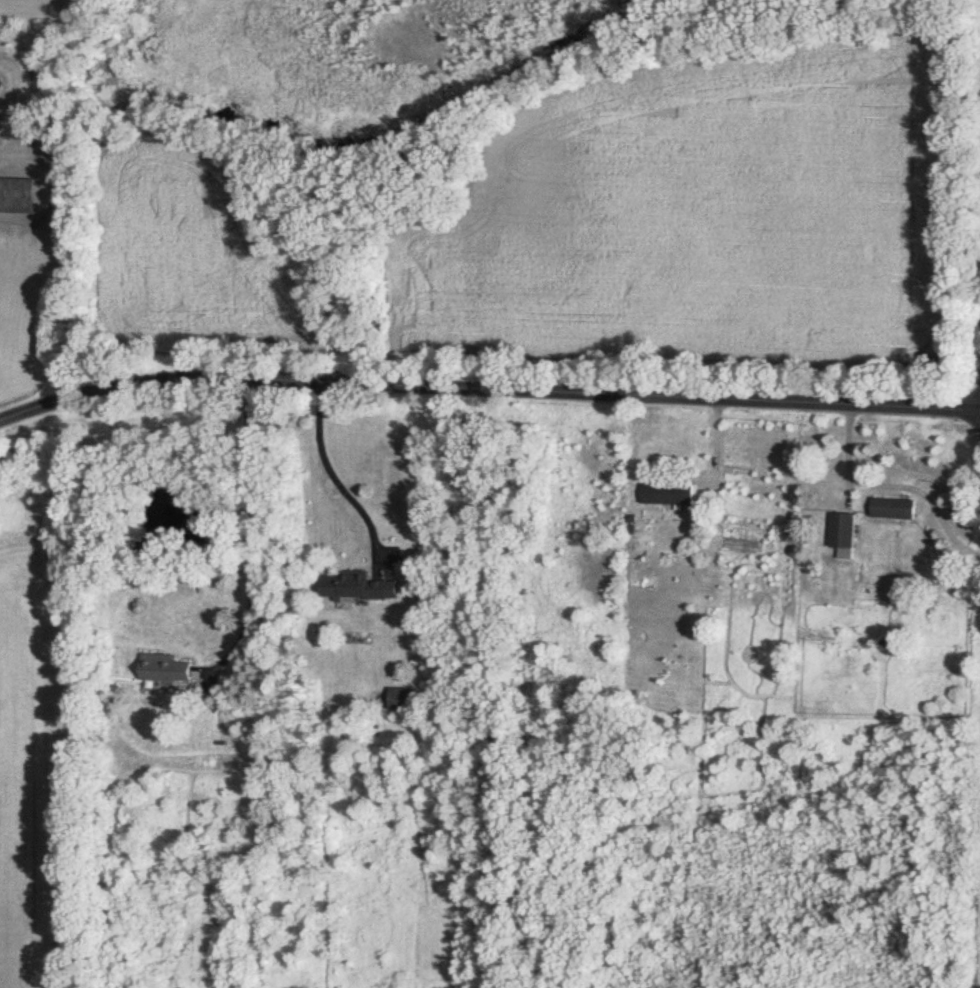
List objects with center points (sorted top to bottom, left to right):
building: (18, 195)
road: (487, 390)
road: (337, 481)
road: (893, 489)
building: (667, 493)
building: (893, 508)
building: (842, 534)
road: (253, 538)
building: (359, 585)
building: (164, 668)
building: (400, 698)

